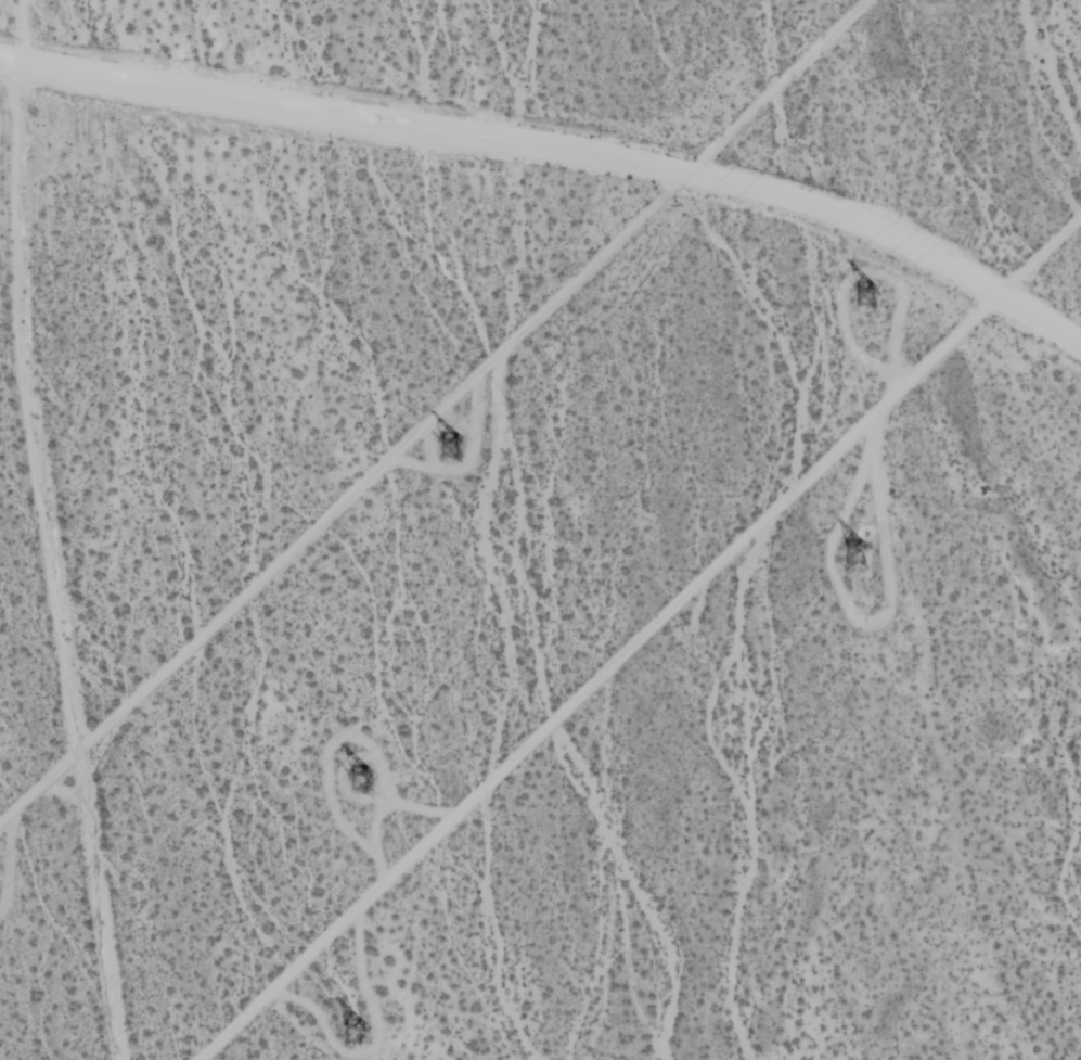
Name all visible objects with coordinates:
road: (558, 152)
power tower: (871, 296)
power tower: (450, 451)
power tower: (850, 557)
road: (640, 637)
power tower: (364, 783)
power tower: (356, 1023)

